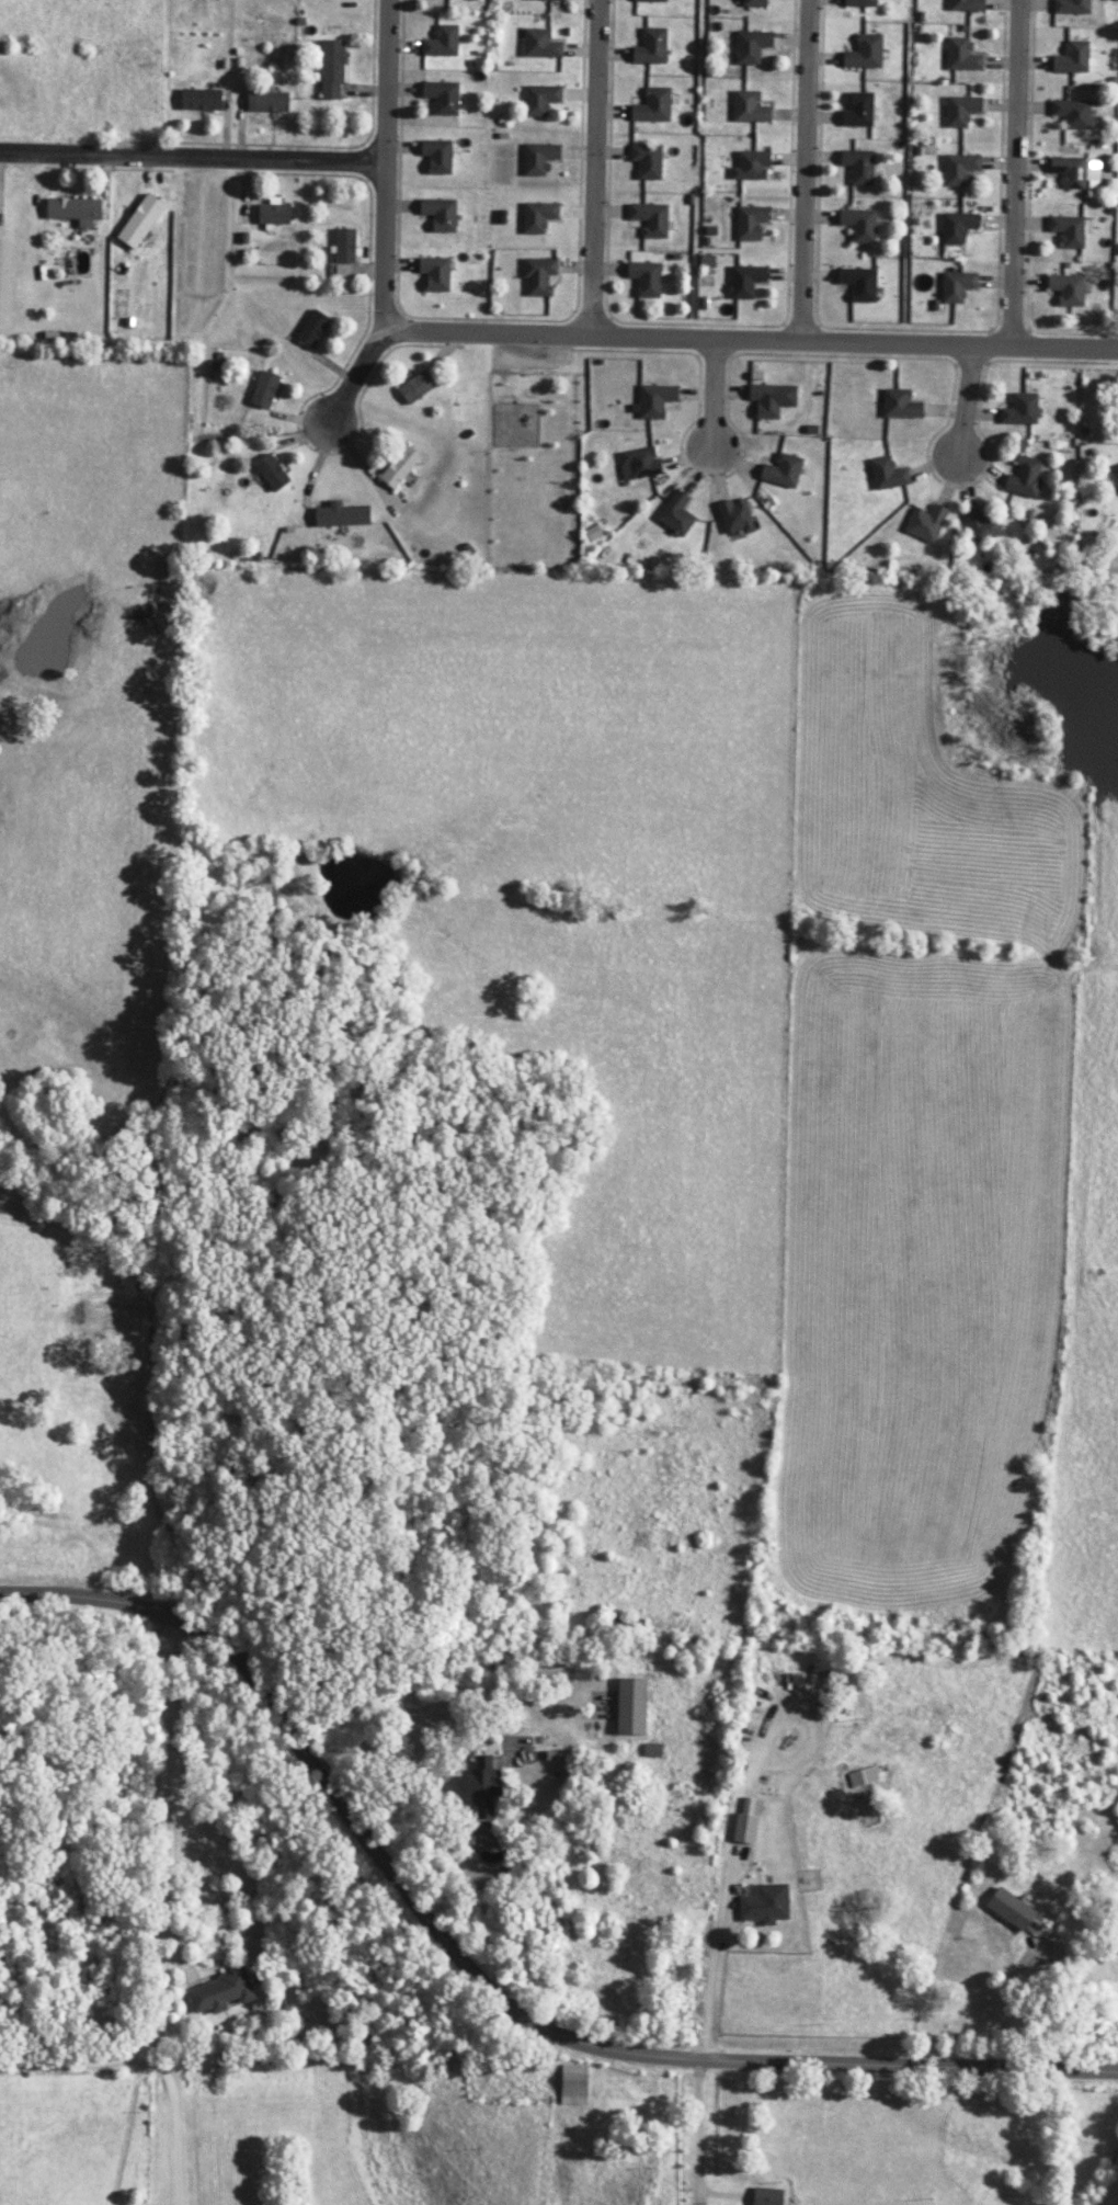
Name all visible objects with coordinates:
building: (555, 0)
building: (650, 0)
building: (859, 2)
building: (753, 3)
building: (966, 4)
building: (1071, 7)
building: (441, 42)
building: (539, 44)
building: (650, 46)
building: (750, 46)
building: (864, 53)
building: (961, 55)
building: (1071, 58)
building: (331, 68)
building: (442, 96)
building: (540, 99)
building: (199, 100)
building: (266, 102)
building: (652, 105)
building: (749, 107)
building: (857, 110)
building: (960, 110)
building: (1071, 113)
building: (436, 156)
road: (193, 157)
building: (538, 158)
building: (646, 161)
road: (387, 163)
building: (750, 166)
building: (858, 166)
road: (584, 168)
building: (959, 169)
road: (812, 171)
building: (1075, 172)
road: (1020, 175)
building: (73, 211)
building: (273, 213)
building: (438, 214)
building: (537, 216)
building: (649, 219)
building: (139, 221)
building: (749, 223)
building: (858, 225)
building: (956, 227)
building: (1069, 230)
building: (344, 246)
building: (342, 270)
building: (434, 273)
building: (538, 275)
building: (644, 279)
building: (744, 281)
building: (858, 283)
building: (956, 286)
building: (1066, 289)
building: (312, 329)
road: (753, 341)
road: (361, 376)
building: (415, 387)
building: (263, 389)
building: (654, 400)
building: (764, 400)
building: (899, 405)
road: (715, 410)
building: (1019, 410)
road: (965, 413)
building: (638, 463)
building: (398, 467)
building: (1116, 469)
building: (782, 470)
building: (270, 473)
building: (887, 474)
building: (1024, 477)
building: (675, 514)
building: (341, 515)
building: (734, 516)
building: (925, 523)
building: (981, 525)
building: (630, 1706)
building: (862, 1777)
building: (482, 1785)
road: (730, 1808)
building: (746, 1821)
road: (160, 1901)
building: (764, 1905)
building: (1008, 1909)
road: (478, 1982)
building: (219, 1992)
building: (573, 2084)
road: (128, 2124)
building: (766, 2196)

